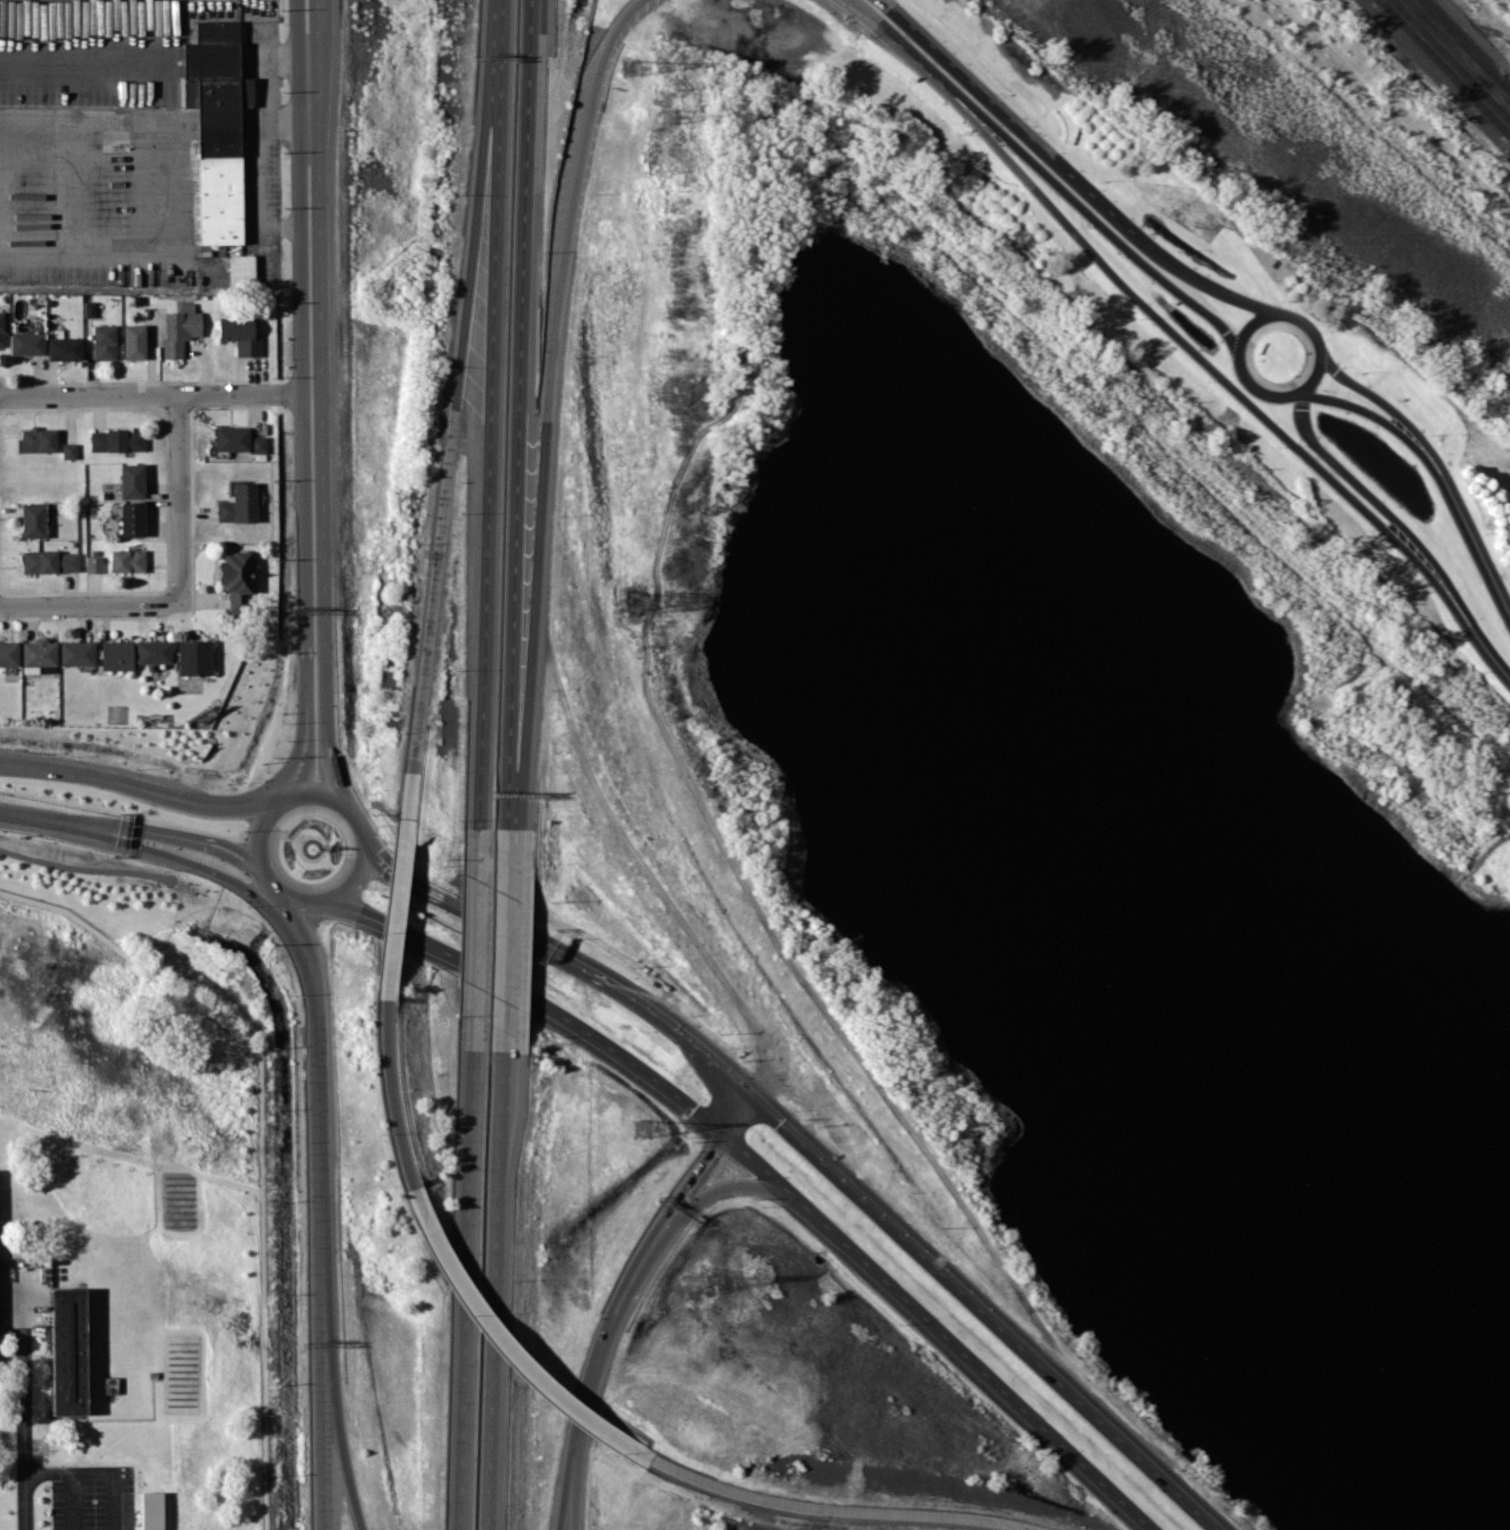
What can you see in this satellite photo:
road: (497, 28)
railway: (1449, 44)
railway: (1452, 44)
railway: (1465, 46)
road: (210, 58)
road: (269, 58)
road: (90, 59)
railway: (1451, 59)
road: (309, 62)
railway: (1445, 67)
railway: (1501, 98)
building: (216, 128)
road: (1069, 173)
road: (260, 177)
road: (1048, 178)
building: (242, 270)
road: (301, 303)
building: (89, 309)
road: (1304, 322)
road: (1248, 328)
building: (181, 329)
building: (1, 330)
building: (241, 335)
road: (1180, 339)
building: (104, 342)
building: (134, 342)
building: (27, 343)
building: (64, 348)
road: (1317, 371)
road: (1260, 391)
road: (151, 395)
road: (1375, 397)
road: (321, 403)
road: (547, 407)
road: (1368, 413)
road: (517, 414)
road: (453, 432)
building: (37, 440)
building: (116, 440)
building: (238, 440)
road: (489, 443)
building: (69, 451)
building: (132, 480)
road: (1368, 495)
road: (181, 500)
building: (240, 504)
building: (132, 519)
building: (33, 520)
road: (1470, 534)
building: (127, 561)
building: (50, 562)
building: (94, 564)
building: (237, 579)
power tower: (637, 601)
power tower: (675, 601)
road: (91, 605)
road: (1477, 638)
building: (153, 652)
building: (39, 653)
building: (77, 653)
building: (8, 654)
road: (305, 654)
building: (116, 655)
building: (194, 657)
road: (311, 746)
road: (300, 750)
road: (137, 786)
road: (323, 792)
road: (286, 796)
road: (46, 818)
road: (361, 825)
road: (255, 834)
road: (179, 836)
road: (391, 859)
road: (191, 862)
road: (262, 876)
road: (393, 877)
road: (349, 887)
road: (397, 894)
road: (275, 898)
road: (288, 898)
road: (458, 906)
road: (506, 937)
road: (476, 938)
road: (616, 989)
road: (532, 997)
road: (390, 1086)
road: (734, 1106)
traffic signals: (694, 1108)
traffic signals: (779, 1123)
power tower: (643, 1129)
road: (319, 1142)
traffic signals: (715, 1153)
road: (826, 1166)
road: (700, 1173)
road: (734, 1184)
power tower: (697, 1282)
road: (496, 1287)
road: (464, 1288)
road: (610, 1324)
road: (940, 1332)
building: (68, 1351)
road: (513, 1355)
road: (1067, 1392)
road: (25, 1429)
road: (324, 1455)
road: (343, 1455)
road: (99, 1472)
road: (568, 1489)
road: (577, 1489)
parking lot: (93, 1497)
road: (72, 1501)
building: (152, 1510)
road: (842, 1510)

